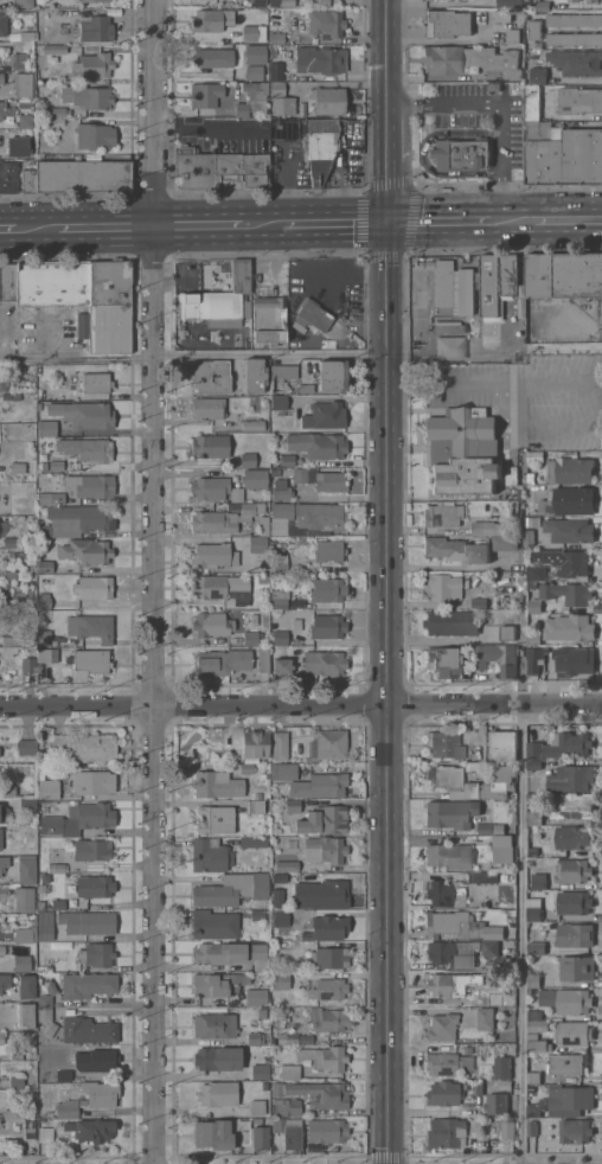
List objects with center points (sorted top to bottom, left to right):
building: (98, 0)
building: (574, 0)
building: (593, 0)
building: (21, 2)
building: (258, 2)
building: (282, 2)
building: (324, 2)
building: (510, 2)
building: (540, 5)
building: (501, 15)
building: (211, 19)
building: (575, 19)
building: (326, 23)
building: (448, 23)
building: (4, 24)
building: (96, 27)
building: (536, 28)
building: (254, 32)
building: (27, 34)
building: (512, 36)
building: (276, 37)
building: (574, 38)
building: (55, 47)
road: (386, 47)
building: (255, 53)
building: (213, 57)
building: (321, 58)
building: (20, 59)
building: (470, 60)
building: (577, 62)
building: (94, 64)
building: (276, 70)
building: (254, 71)
building: (537, 75)
building: (1, 77)
building: (25, 84)
building: (494, 85)
building: (277, 88)
building: (205, 94)
building: (256, 94)
building: (87, 96)
building: (328, 100)
building: (579, 100)
road: (500, 103)
building: (533, 103)
building: (283, 104)
parking lot: (460, 104)
building: (2, 108)
building: (242, 109)
building: (57, 111)
building: (25, 120)
building: (59, 120)
road: (203, 129)
parking lot: (510, 132)
building: (95, 135)
building: (18, 146)
building: (321, 147)
building: (186, 149)
building: (212, 152)
road: (423, 153)
building: (460, 153)
building: (564, 154)
road: (386, 158)
building: (219, 170)
building: (8, 175)
building: (82, 175)
building: (28, 179)
road: (556, 218)
road: (449, 219)
traffic signals: (389, 220)
road: (322, 222)
road: (204, 223)
road: (94, 225)
road: (18, 226)
road: (300, 252)
building: (418, 263)
building: (508, 275)
building: (564, 275)
building: (8, 281)
building: (53, 283)
building: (454, 286)
building: (491, 286)
building: (218, 299)
building: (110, 305)
building: (313, 314)
building: (269, 319)
building: (83, 325)
building: (448, 326)
building: (449, 347)
road: (194, 358)
building: (255, 375)
building: (281, 375)
building: (332, 375)
building: (210, 376)
building: (95, 382)
road: (495, 382)
building: (306, 388)
parking lot: (515, 392)
building: (62, 395)
building: (278, 402)
building: (39, 405)
building: (207, 407)
building: (84, 414)
building: (325, 415)
building: (254, 423)
building: (47, 427)
road: (559, 427)
building: (316, 445)
building: (211, 446)
building: (87, 448)
building: (515, 448)
building: (463, 450)
building: (536, 456)
building: (248, 459)
building: (287, 460)
building: (56, 465)
building: (17, 466)
building: (571, 469)
building: (276, 472)
building: (300, 474)
building: (531, 477)
building: (255, 478)
building: (331, 481)
building: (90, 485)
building: (211, 487)
building: (281, 490)
building: (237, 494)
building: (57, 498)
building: (45, 500)
building: (569, 500)
building: (442, 514)
building: (308, 516)
building: (223, 518)
building: (76, 519)
building: (533, 522)
building: (487, 527)
building: (512, 530)
building: (570, 530)
building: (529, 537)
building: (11, 542)
building: (504, 542)
building: (258, 544)
building: (456, 549)
building: (87, 550)
building: (328, 550)
building: (27, 554)
building: (213, 555)
building: (280, 562)
building: (574, 563)
building: (45, 565)
building: (537, 573)
building: (11, 574)
building: (262, 578)
road: (154, 581)
building: (443, 586)
building: (94, 587)
building: (211, 587)
building: (328, 589)
building: (566, 593)
building: (280, 597)
building: (502, 597)
building: (44, 601)
building: (250, 601)
building: (9, 606)
building: (534, 607)
building: (450, 622)
building: (211, 623)
building: (296, 623)
building: (91, 626)
building: (327, 626)
building: (569, 627)
building: (507, 632)
building: (44, 637)
building: (280, 637)
building: (251, 638)
building: (12, 640)
building: (47, 654)
building: (494, 657)
building: (534, 658)
building: (263, 659)
building: (574, 660)
building: (88, 661)
building: (220, 661)
building: (325, 661)
building: (443, 661)
building: (28, 664)
building: (282, 665)
road: (389, 692)
road: (301, 704)
road: (301, 723)
building: (255, 743)
building: (328, 743)
building: (443, 743)
building: (504, 744)
building: (568, 744)
building: (26, 746)
building: (85, 746)
building: (280, 746)
building: (534, 750)
building: (475, 765)
building: (534, 765)
building: (245, 767)
building: (284, 770)
building: (502, 773)
building: (444, 776)
building: (571, 778)
building: (92, 781)
building: (212, 784)
building: (319, 785)
building: (47, 786)
building: (8, 789)
building: (481, 791)
building: (258, 795)
building: (27, 805)
building: (289, 805)
building: (574, 805)
building: (256, 806)
building: (49, 808)
building: (536, 808)
building: (4, 813)
building: (450, 813)
building: (78, 818)
building: (216, 819)
building: (324, 820)
building: (485, 827)
building: (574, 837)
building: (1, 838)
building: (539, 840)
building: (254, 842)
building: (91, 849)
building: (325, 849)
building: (502, 849)
building: (210, 855)
building: (449, 855)
building: (4, 863)
building: (287, 865)
building: (26, 868)
building: (56, 868)
building: (572, 870)
building: (278, 877)
building: (482, 877)
building: (539, 883)
building: (94, 885)
building: (231, 889)
building: (7, 890)
building: (446, 893)
building: (321, 894)
building: (24, 897)
building: (574, 902)
building: (51, 903)
building: (257, 914)
building: (534, 914)
building: (280, 917)
building: (87, 921)
building: (451, 923)
building: (45, 925)
building: (214, 925)
building: (326, 927)
building: (495, 932)
road: (521, 933)
building: (23, 934)
building: (575, 934)
building: (537, 947)
building: (489, 948)
building: (2, 949)
building: (454, 952)
building: (96, 953)
building: (235, 953)
building: (328, 957)
building: (23, 962)
building: (576, 967)
building: (534, 979)
building: (5, 980)
building: (281, 980)
building: (218, 983)
building: (451, 983)
building: (87, 984)
building: (26, 986)
building: (328, 989)
building: (260, 993)
building: (46, 994)
building: (488, 999)
building: (566, 999)
building: (261, 1012)
building: (25, 1015)
building: (486, 1017)
building: (327, 1018)
building: (46, 1021)
building: (214, 1024)
building: (536, 1025)
building: (442, 1027)
building: (88, 1030)
building: (575, 1032)
building: (255, 1037)
building: (287, 1037)
building: (1, 1038)
building: (537, 1044)
building: (17, 1054)
building: (540, 1055)
building: (325, 1056)
building: (218, 1057)
building: (95, 1060)
building: (448, 1062)
building: (568, 1063)
building: (502, 1067)
building: (260, 1070)
building: (290, 1072)
building: (64, 1074)
building: (534, 1077)
building: (17, 1081)
building: (504, 1083)
building: (476, 1087)
building: (276, 1088)
building: (531, 1088)
building: (101, 1093)
building: (218, 1093)
building: (321, 1093)
building: (443, 1093)
building: (569, 1100)
building: (83, 1101)
building: (497, 1104)
building: (257, 1106)
building: (286, 1106)
building: (536, 1107)
building: (66, 1108)
building: (14, 1113)
building: (257, 1120)
building: (28, 1127)
building: (532, 1127)
building: (91, 1128)
building: (326, 1130)
building: (507, 1130)
building: (575, 1131)
building: (446, 1132)
building: (45, 1133)
building: (213, 1133)
building: (288, 1133)
building: (260, 1137)

